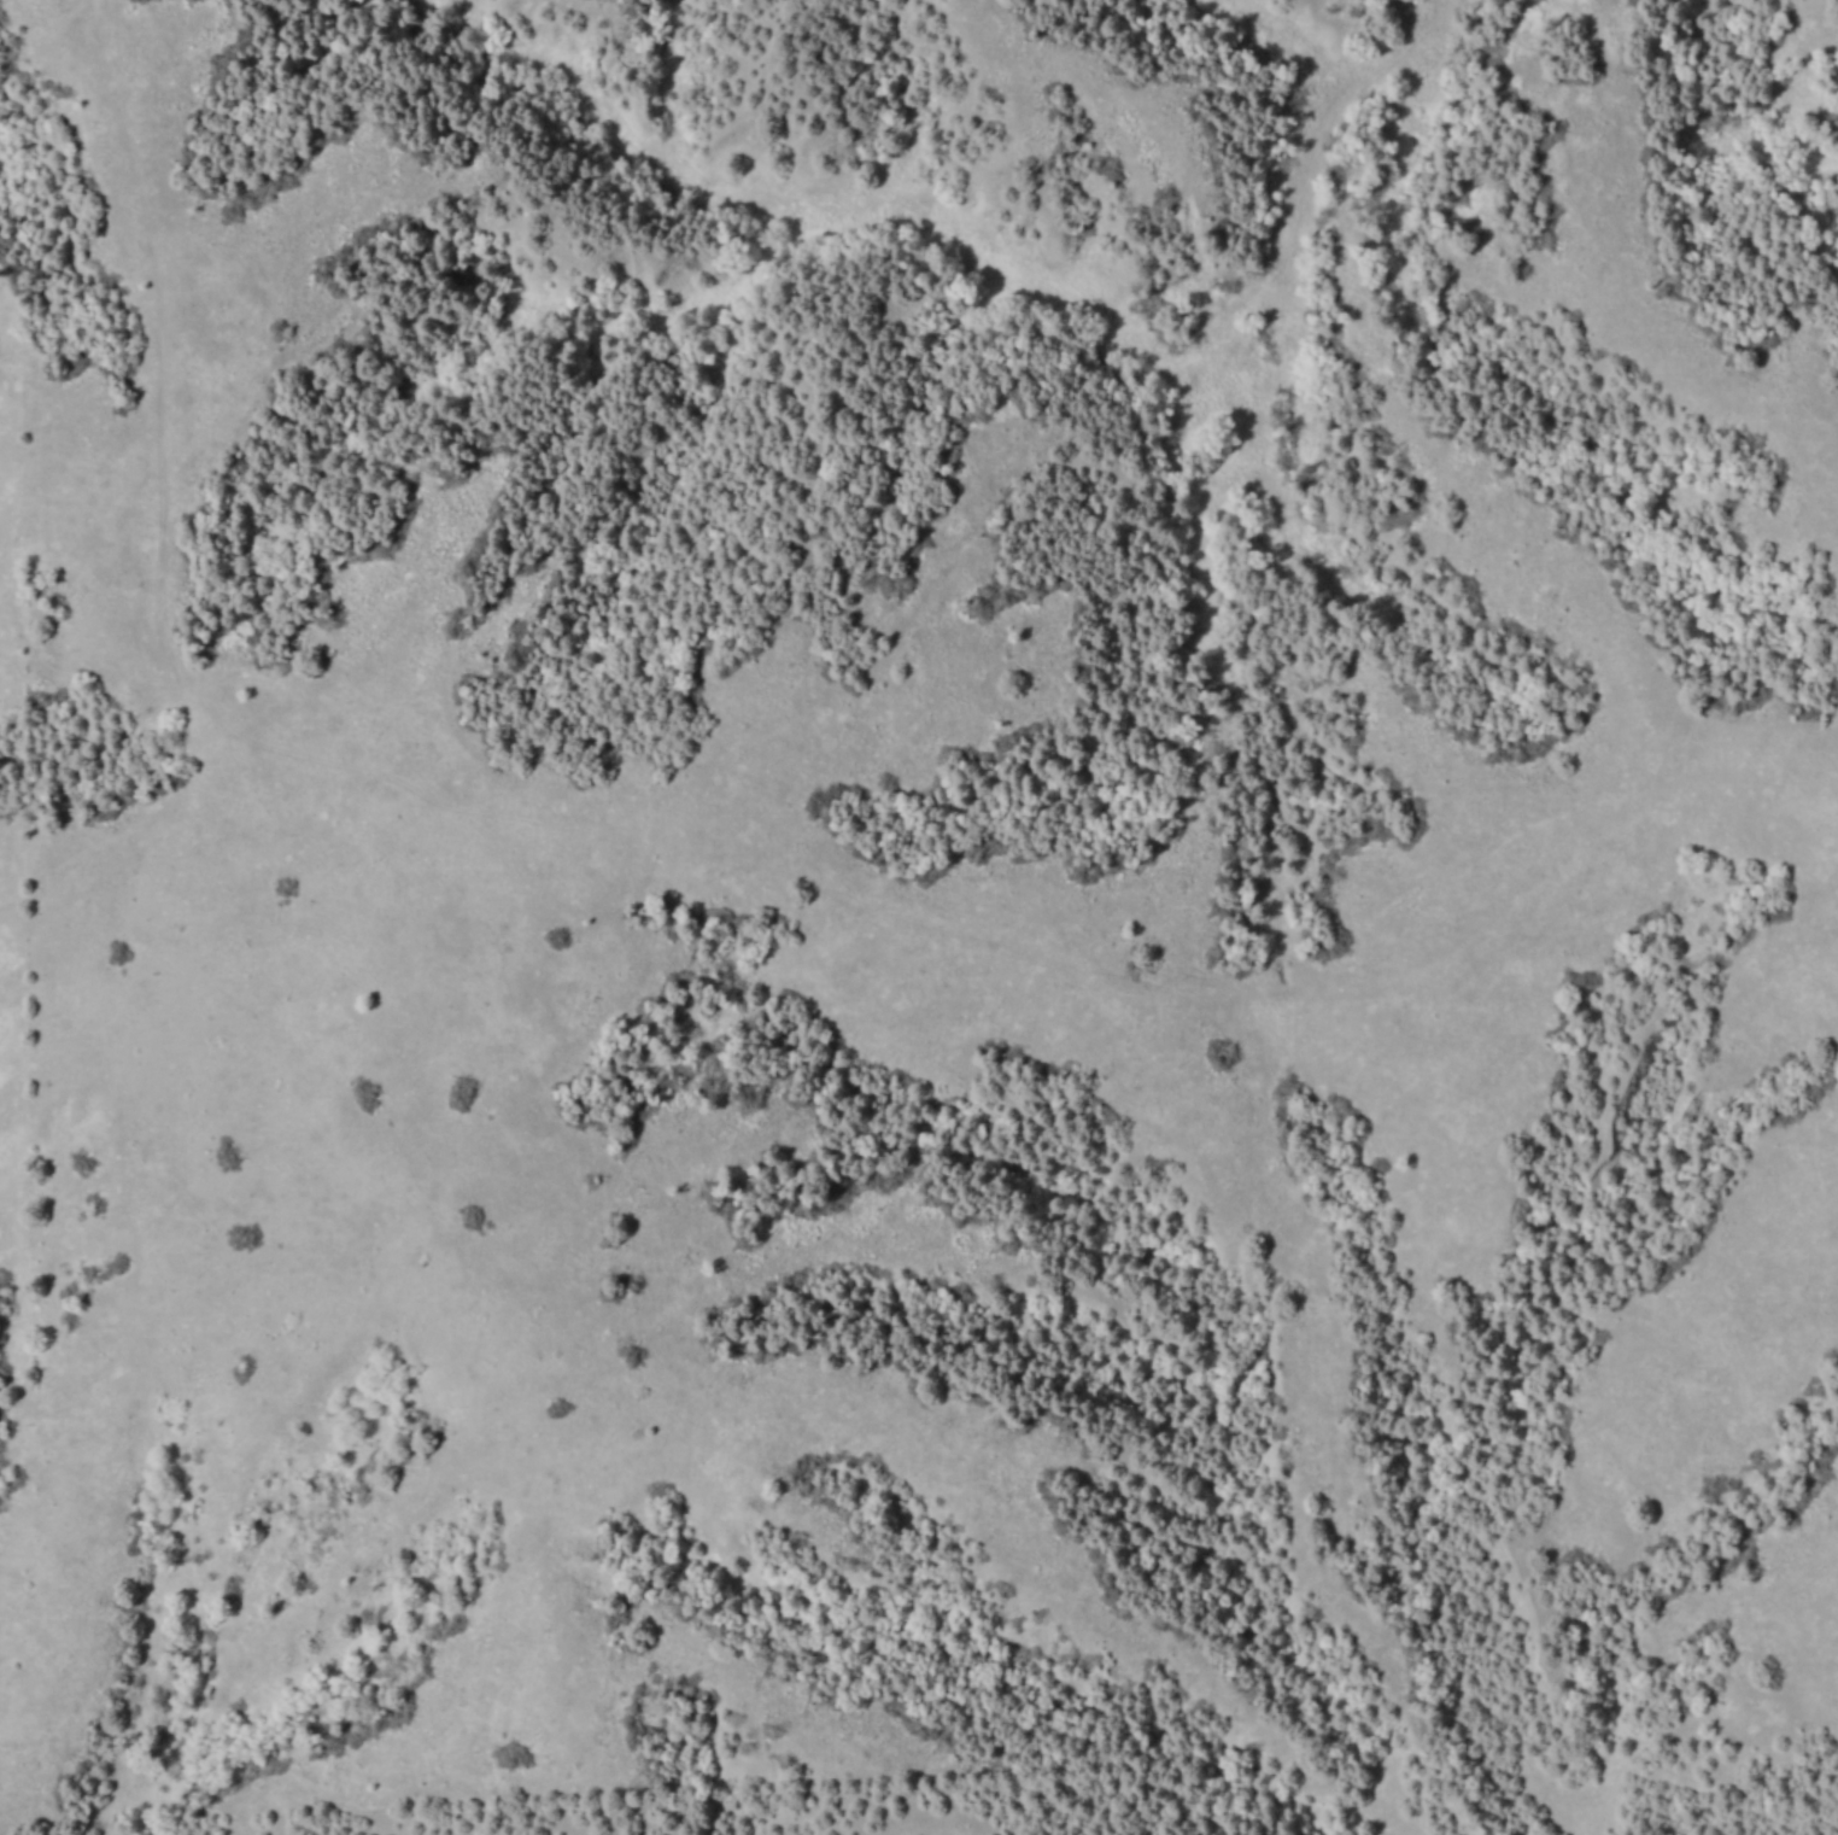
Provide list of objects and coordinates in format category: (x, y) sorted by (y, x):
crop: (1145, 1807)
road: (734, 1808)
road: (141, 1827)

